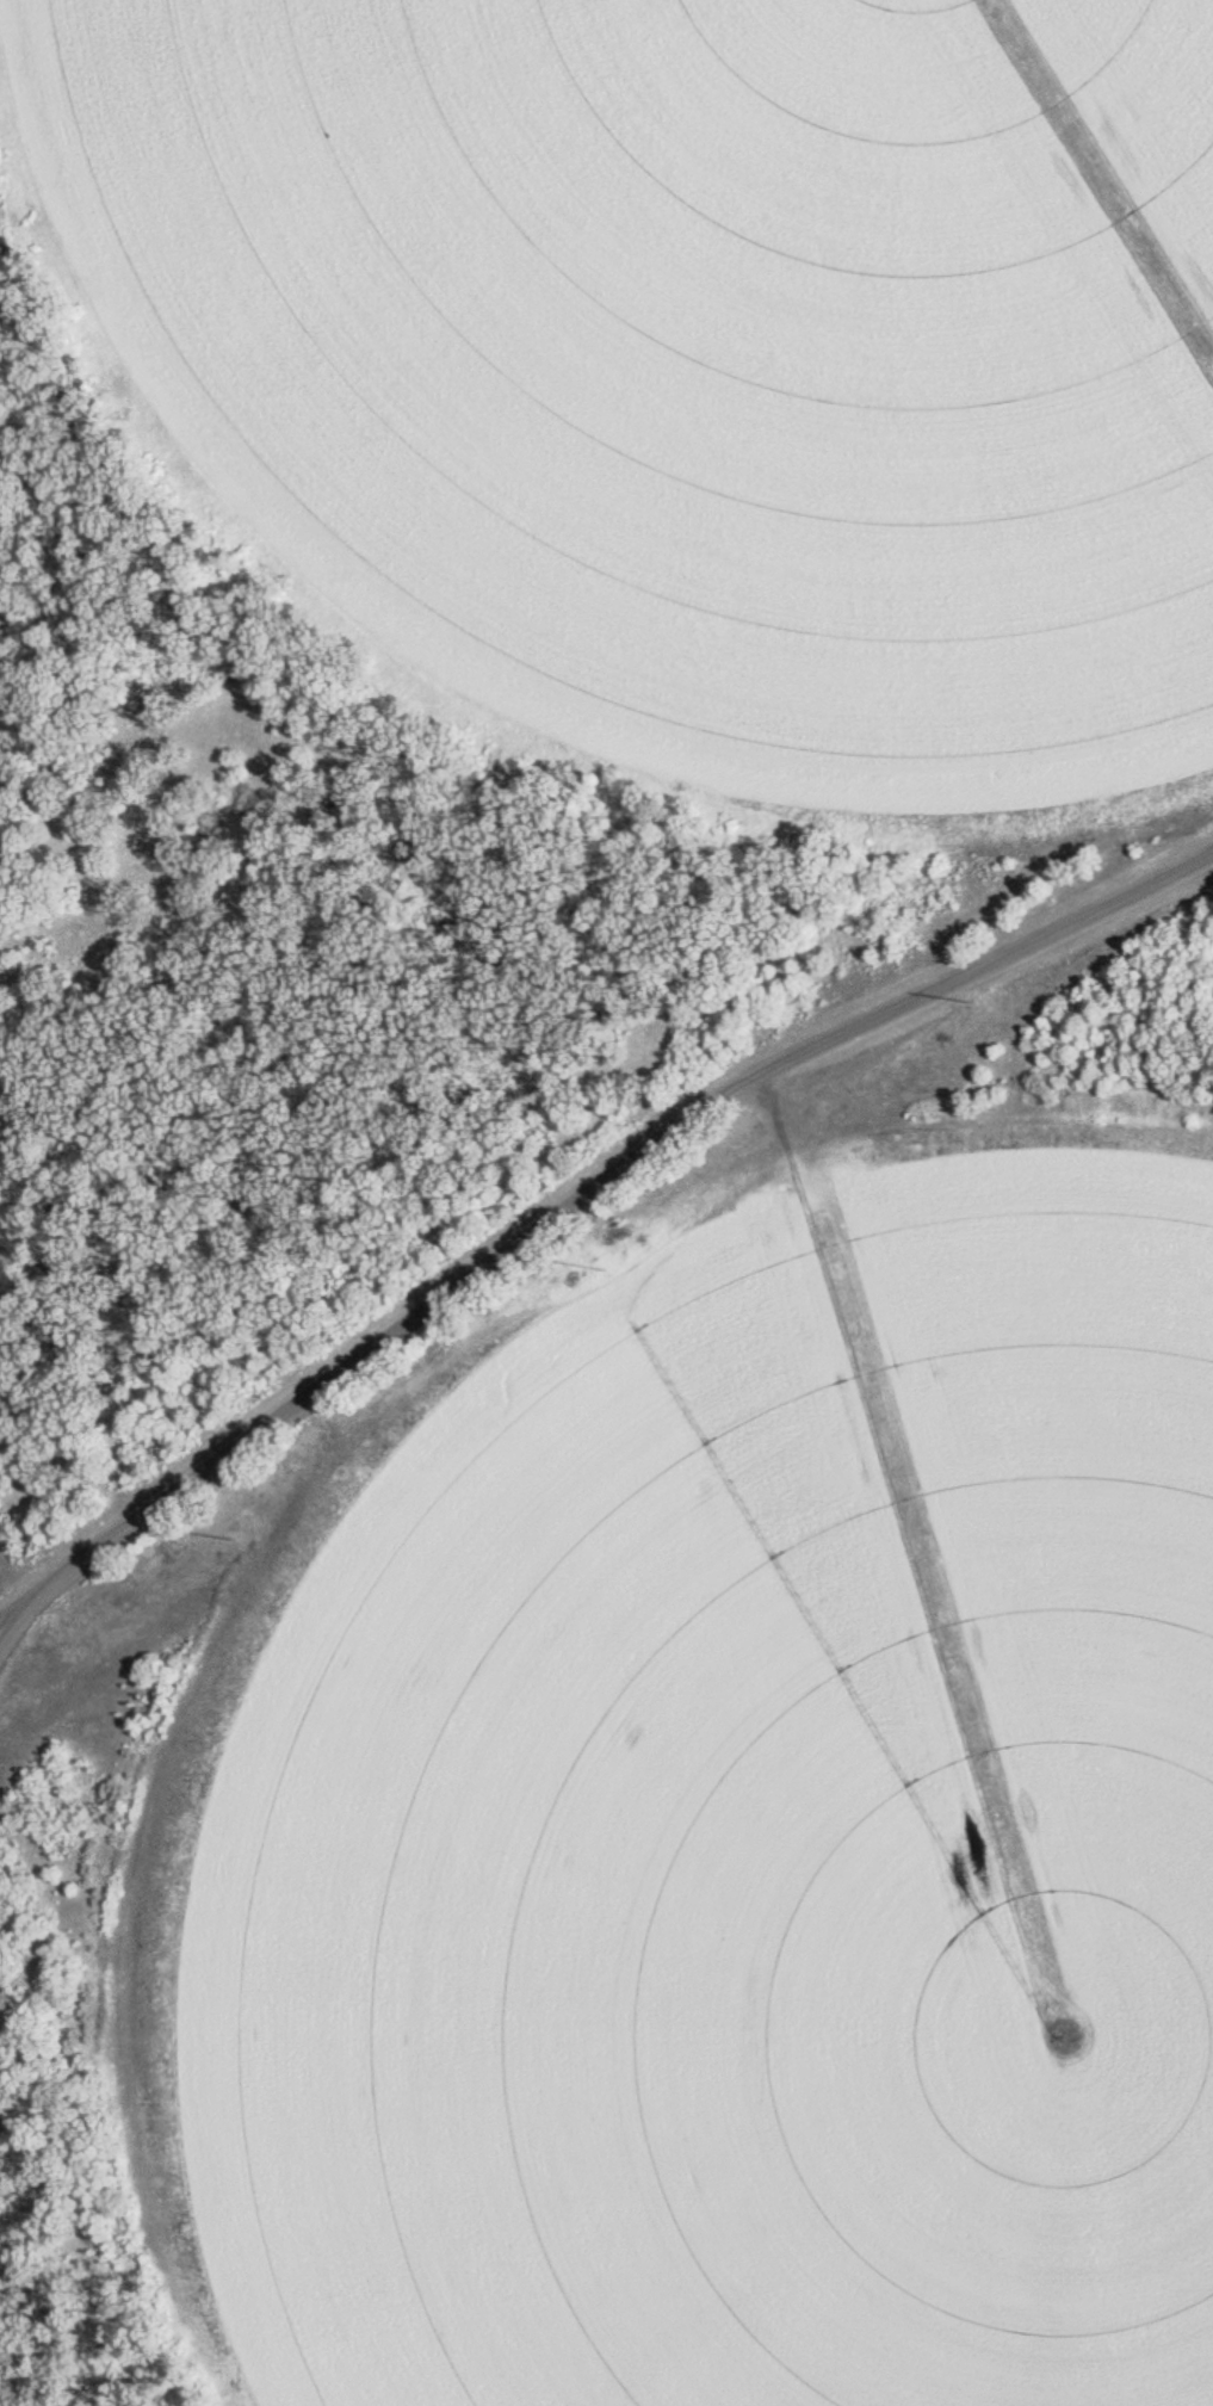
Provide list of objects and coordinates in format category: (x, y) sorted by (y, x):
road: (583, 1195)
wastewater plant: (606, 1202)
road: (19, 1620)

